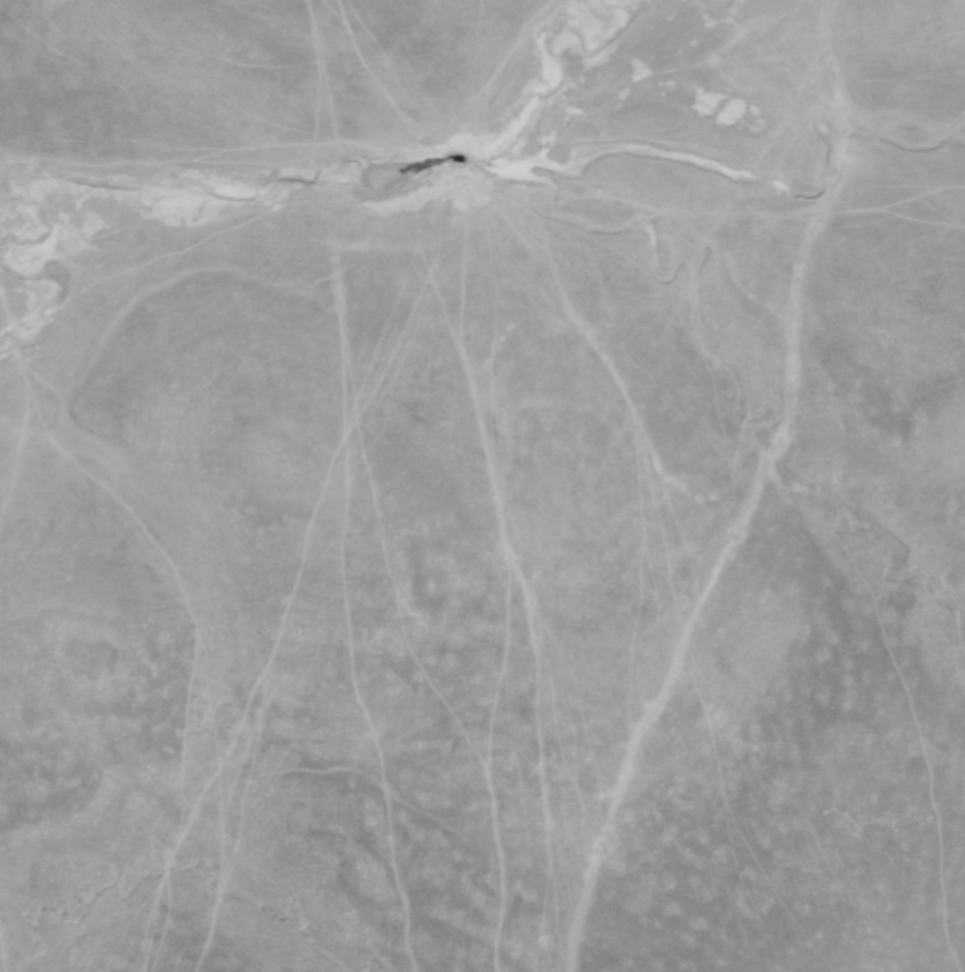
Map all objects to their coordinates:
road: (750, 492)

